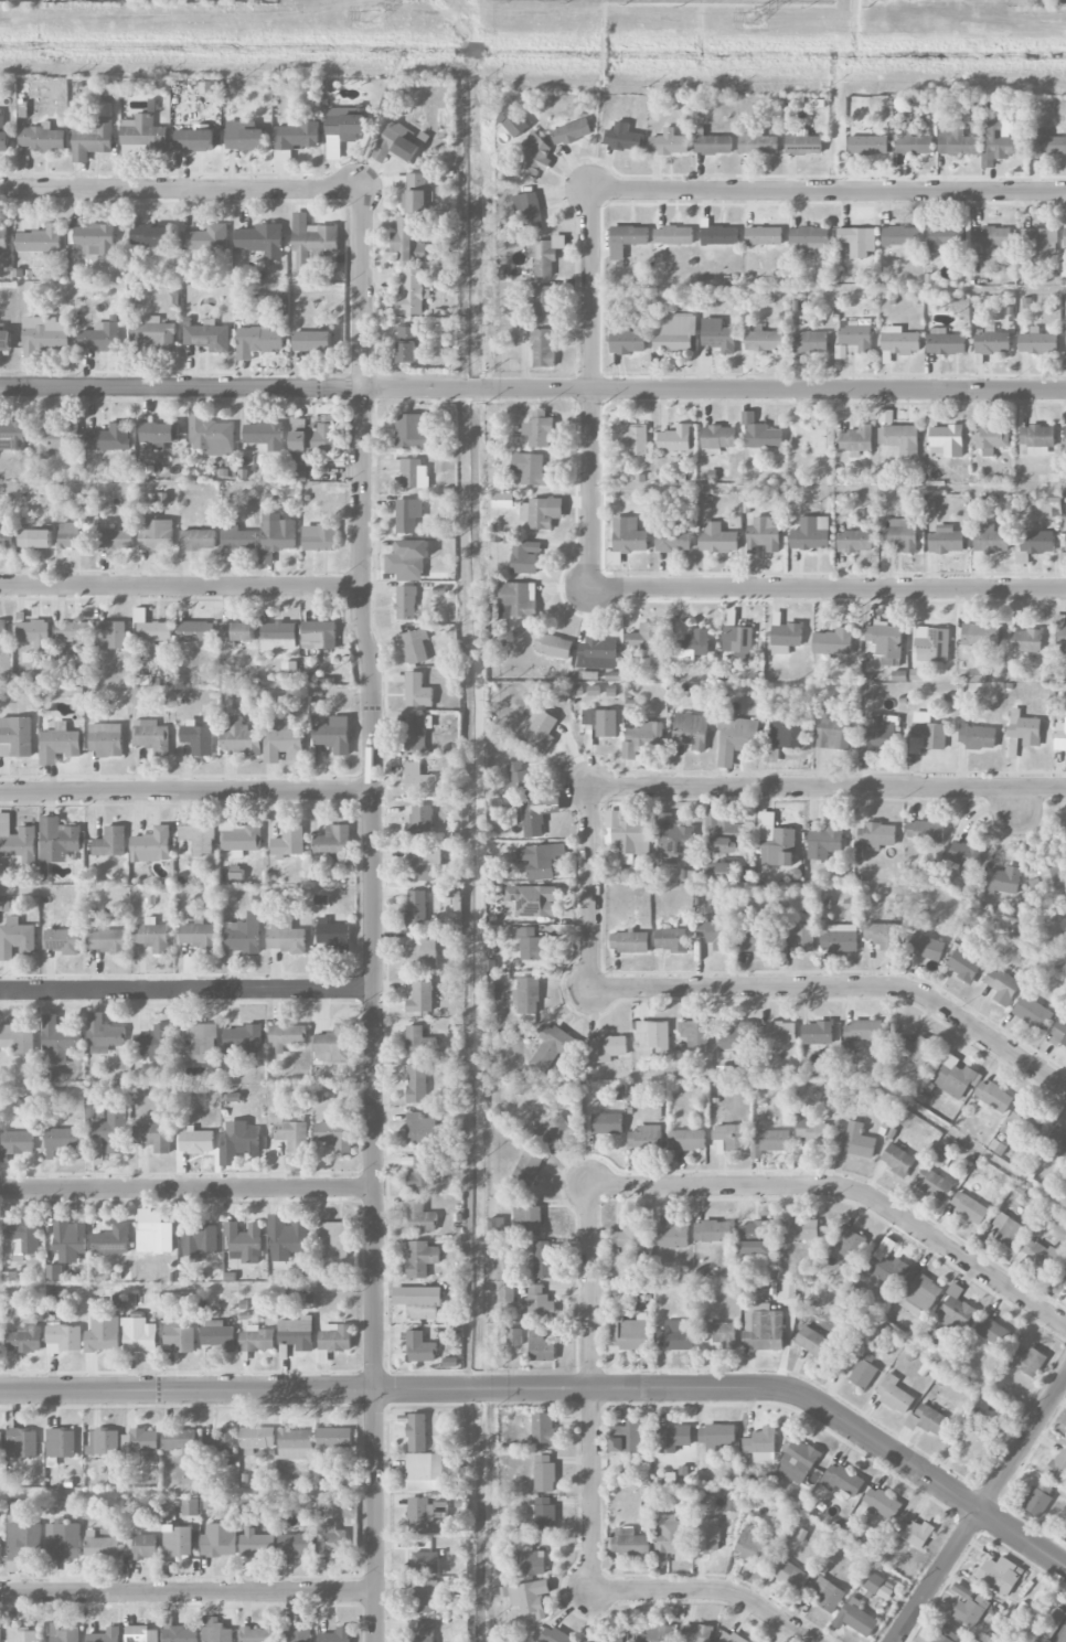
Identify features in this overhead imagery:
road: (712, 3)
power tower: (757, 15)
power tower: (373, 17)
road: (604, 52)
building: (514, 121)
building: (343, 126)
building: (572, 131)
building: (93, 134)
building: (297, 135)
road: (597, 135)
building: (3, 136)
building: (142, 136)
building: (245, 136)
building: (623, 137)
building: (42, 138)
building: (194, 140)
building: (957, 141)
building: (1000, 141)
building: (756, 142)
building: (1047, 142)
building: (395, 143)
building: (712, 143)
building: (803, 143)
building: (667, 145)
building: (868, 145)
building: (914, 145)
building: (533, 158)
road: (183, 186)
road: (827, 190)
building: (416, 193)
building: (529, 211)
building: (3, 235)
building: (673, 235)
building: (719, 235)
building: (149, 236)
building: (764, 236)
building: (900, 236)
building: (944, 236)
building: (1065, 236)
building: (205, 238)
building: (94, 239)
building: (409, 239)
building: (627, 239)
building: (809, 239)
building: (40, 241)
building: (260, 241)
building: (311, 241)
building: (859, 241)
building: (1040, 243)
building: (989, 245)
building: (545, 254)
building: (412, 292)
building: (543, 303)
building: (675, 332)
building: (154, 333)
building: (45, 335)
building: (207, 335)
building: (718, 335)
building: (4, 337)
building: (854, 338)
building: (764, 340)
building: (258, 341)
building: (312, 341)
building: (992, 341)
building: (628, 342)
building: (810, 342)
building: (899, 342)
building: (946, 342)
building: (1038, 342)
building: (407, 344)
building: (543, 348)
building: (1064, 354)
road: (532, 388)
road: (587, 390)
building: (885, 416)
building: (539, 429)
building: (414, 430)
building: (159, 433)
building: (760, 433)
building: (211, 434)
building: (629, 435)
building: (12, 436)
building: (264, 436)
building: (109, 437)
building: (56, 438)
building: (675, 438)
building: (718, 438)
building: (899, 438)
building: (991, 438)
building: (315, 439)
building: (857, 439)
building: (947, 440)
building: (1036, 440)
building: (1065, 444)
building: (530, 469)
building: (414, 473)
building: (68, 500)
building: (503, 500)
building: (540, 512)
building: (408, 514)
building: (765, 533)
building: (811, 533)
building: (156, 534)
building: (902, 534)
building: (276, 535)
building: (628, 535)
building: (75, 536)
building: (320, 537)
building: (6, 539)
building: (35, 539)
building: (115, 539)
building: (237, 539)
building: (717, 539)
building: (991, 539)
building: (198, 540)
building: (673, 540)
building: (946, 540)
building: (1036, 540)
building: (1064, 553)
building: (412, 555)
building: (525, 557)
building: (614, 558)
road: (181, 588)
road: (827, 589)
building: (516, 599)
building: (406, 603)
building: (152, 629)
building: (73, 631)
building: (195, 631)
building: (235, 632)
building: (2, 633)
building: (33, 633)
building: (319, 633)
building: (111, 635)
building: (980, 635)
building: (785, 636)
building: (278, 637)
building: (647, 637)
building: (1060, 638)
building: (737, 639)
building: (1026, 640)
building: (691, 641)
building: (833, 641)
building: (886, 641)
building: (932, 644)
building: (415, 646)
building: (552, 646)
building: (597, 653)
building: (417, 691)
building: (601, 722)
building: (541, 728)
building: (1024, 728)
building: (692, 731)
building: (416, 733)
building: (926, 733)
building: (787, 734)
building: (833, 734)
building: (334, 735)
building: (878, 735)
building: (15, 736)
building: (151, 736)
building: (978, 736)
building: (1060, 736)
building: (241, 737)
building: (198, 738)
building: (736, 738)
building: (281, 739)
building: (642, 739)
building: (106, 740)
building: (58, 744)
building: (418, 779)
building: (522, 779)
road: (828, 786)
road: (186, 790)
road: (1016, 801)
building: (535, 814)
building: (419, 820)
building: (723, 822)
building: (925, 831)
building: (876, 835)
building: (239, 836)
building: (199, 838)
building: (626, 838)
building: (1065, 839)
building: (57, 840)
building: (673, 840)
building: (289, 841)
building: (775, 841)
building: (17, 842)
building: (110, 842)
building: (332, 842)
building: (825, 842)
building: (151, 845)
building: (723, 845)
building: (966, 854)
building: (540, 860)
building: (423, 864)
building: (719, 871)
building: (746, 874)
building: (1003, 881)
road: (589, 886)
building: (533, 900)
building: (4, 906)
building: (416, 908)
road: (374, 914)
building: (333, 934)
building: (716, 934)
building: (243, 935)
building: (153, 936)
building: (200, 936)
building: (286, 936)
building: (884, 936)
building: (17, 938)
building: (803, 938)
building: (671, 939)
building: (63, 940)
building: (106, 940)
building: (756, 940)
building: (838, 940)
building: (630, 941)
building: (531, 945)
building: (925, 947)
building: (422, 951)
building: (964, 966)
building: (1002, 985)
road: (842, 987)
road: (188, 991)
building: (527, 992)
building: (422, 998)
building: (1033, 1012)
building: (868, 1031)
building: (1059, 1031)
building: (778, 1032)
building: (695, 1033)
building: (818, 1033)
building: (104, 1034)
building: (287, 1036)
building: (737, 1036)
building: (18, 1038)
building: (60, 1038)
building: (652, 1038)
building: (242, 1041)
building: (156, 1042)
building: (196, 1042)
building: (419, 1043)
building: (333, 1045)
building: (552, 1047)
building: (607, 1048)
building: (915, 1048)
building: (955, 1077)
building: (417, 1084)
building: (992, 1096)
building: (1024, 1121)
building: (606, 1123)
building: (420, 1129)
building: (554, 1130)
building: (114, 1131)
building: (290, 1133)
building: (334, 1134)
building: (814, 1134)
building: (153, 1135)
building: (732, 1135)
building: (243, 1137)
building: (646, 1138)
building: (686, 1139)
building: (62, 1141)
building: (196, 1141)
building: (855, 1141)
building: (769, 1142)
building: (1058, 1142)
building: (15, 1143)
building: (897, 1159)
building: (527, 1167)
building: (422, 1173)
building: (935, 1185)
road: (188, 1188)
road: (846, 1188)
building: (969, 1207)
building: (420, 1217)
building: (529, 1219)
building: (799, 1230)
building: (1009, 1230)
building: (713, 1231)
building: (154, 1233)
building: (630, 1235)
building: (337, 1236)
building: (674, 1236)
building: (756, 1237)
building: (287, 1238)
building: (22, 1239)
building: (113, 1239)
building: (200, 1240)
building: (244, 1240)
building: (71, 1241)
building: (849, 1244)
building: (1040, 1255)
building: (420, 1258)
building: (542, 1258)
building: (884, 1266)
building: (53, 1271)
building: (1063, 1276)
building: (456, 1289)
building: (919, 1294)
building: (424, 1302)
building: (540, 1302)
building: (955, 1311)
building: (764, 1328)
building: (722, 1333)
building: (103, 1334)
building: (139, 1334)
building: (218, 1334)
building: (297, 1334)
building: (628, 1335)
building: (679, 1335)
building: (0, 1336)
building: (514, 1336)
building: (179, 1337)
building: (64, 1339)
building: (257, 1339)
building: (24, 1340)
building: (333, 1340)
building: (816, 1344)
building: (1006, 1344)
building: (541, 1345)
building: (420, 1347)
building: (864, 1372)
road: (591, 1387)
road: (559, 1389)
building: (894, 1394)
building: (928, 1419)
building: (543, 1428)
building: (417, 1432)
building: (717, 1436)
building: (627, 1437)
building: (180, 1438)
building: (335, 1438)
building: (671, 1438)
building: (1, 1439)
building: (257, 1439)
building: (140, 1440)
building: (221, 1440)
building: (104, 1442)
building: (22, 1443)
building: (61, 1443)
building: (296, 1443)
building: (972, 1443)
building: (761, 1444)
building: (799, 1461)
building: (1058, 1465)
building: (425, 1471)
building: (544, 1473)
building: (841, 1480)
building: (1040, 1499)
building: (882, 1503)
building: (190, 1506)
road: (979, 1510)
building: (420, 1513)
building: (544, 1516)
building: (914, 1533)
building: (670, 1536)
building: (713, 1539)
building: (177, 1540)
building: (220, 1540)
building: (629, 1540)
building: (63, 1542)
building: (332, 1543)
building: (257, 1545)
building: (297, 1545)
building: (755, 1545)
building: (102, 1546)
building: (141, 1546)
building: (1, 1549)
building: (532, 1561)
building: (425, 1563)
building: (790, 1574)
building: (1000, 1575)
building: (877, 1586)
road: (708, 1590)
road: (189, 1592)
building: (828, 1593)
building: (424, 1596)
building: (527, 1597)
building: (969, 1604)
building: (855, 1617)
building: (217, 1631)
building: (423, 1631)
building: (179, 1632)
building: (695, 1633)
building: (22, 1634)
building: (65, 1634)
building: (141, 1634)
building: (258, 1634)
building: (300, 1634)
building: (657, 1634)
building: (0, 1635)
building: (105, 1635)
building: (335, 1635)
building: (555, 1635)
building: (945, 1635)
road: (1060, 1635)
building: (731, 1636)
building: (607, 1640)

